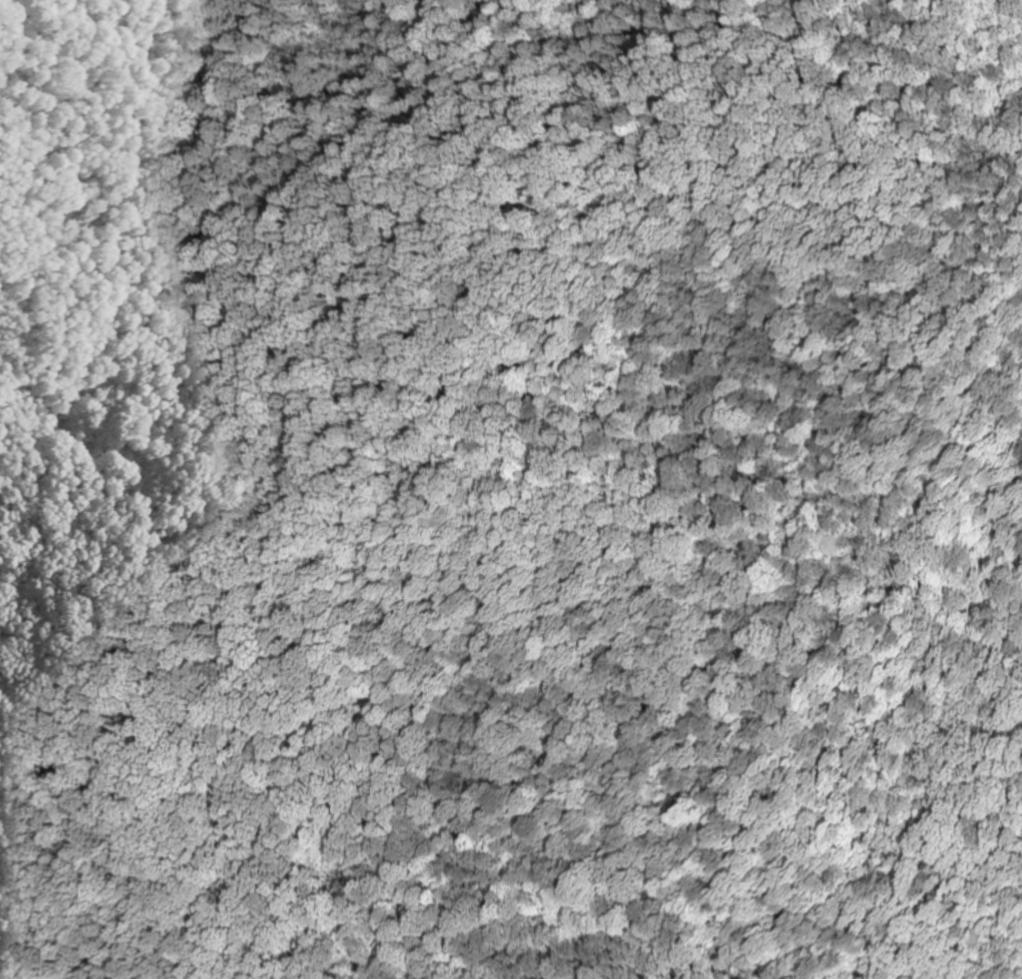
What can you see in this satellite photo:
road: (170, 269)

